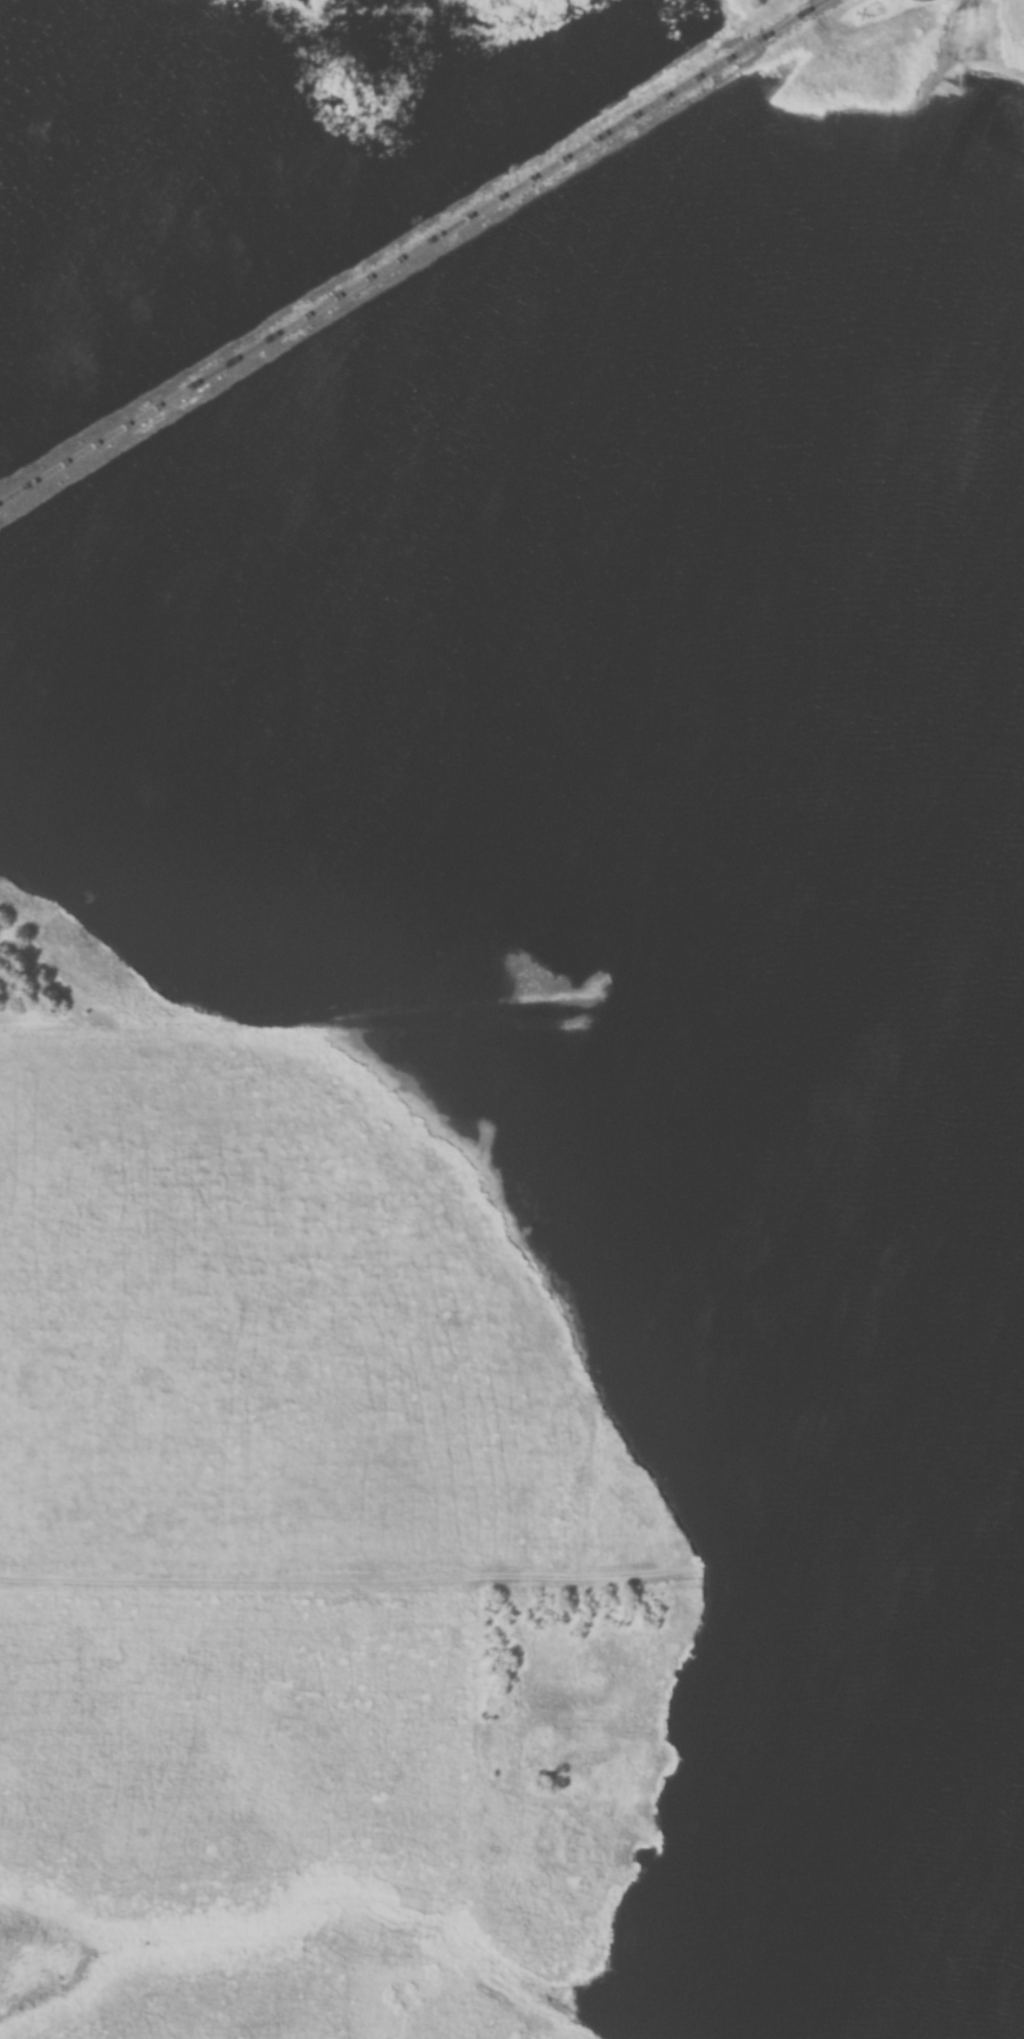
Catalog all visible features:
railway: (414, 253)
road: (308, 1572)

